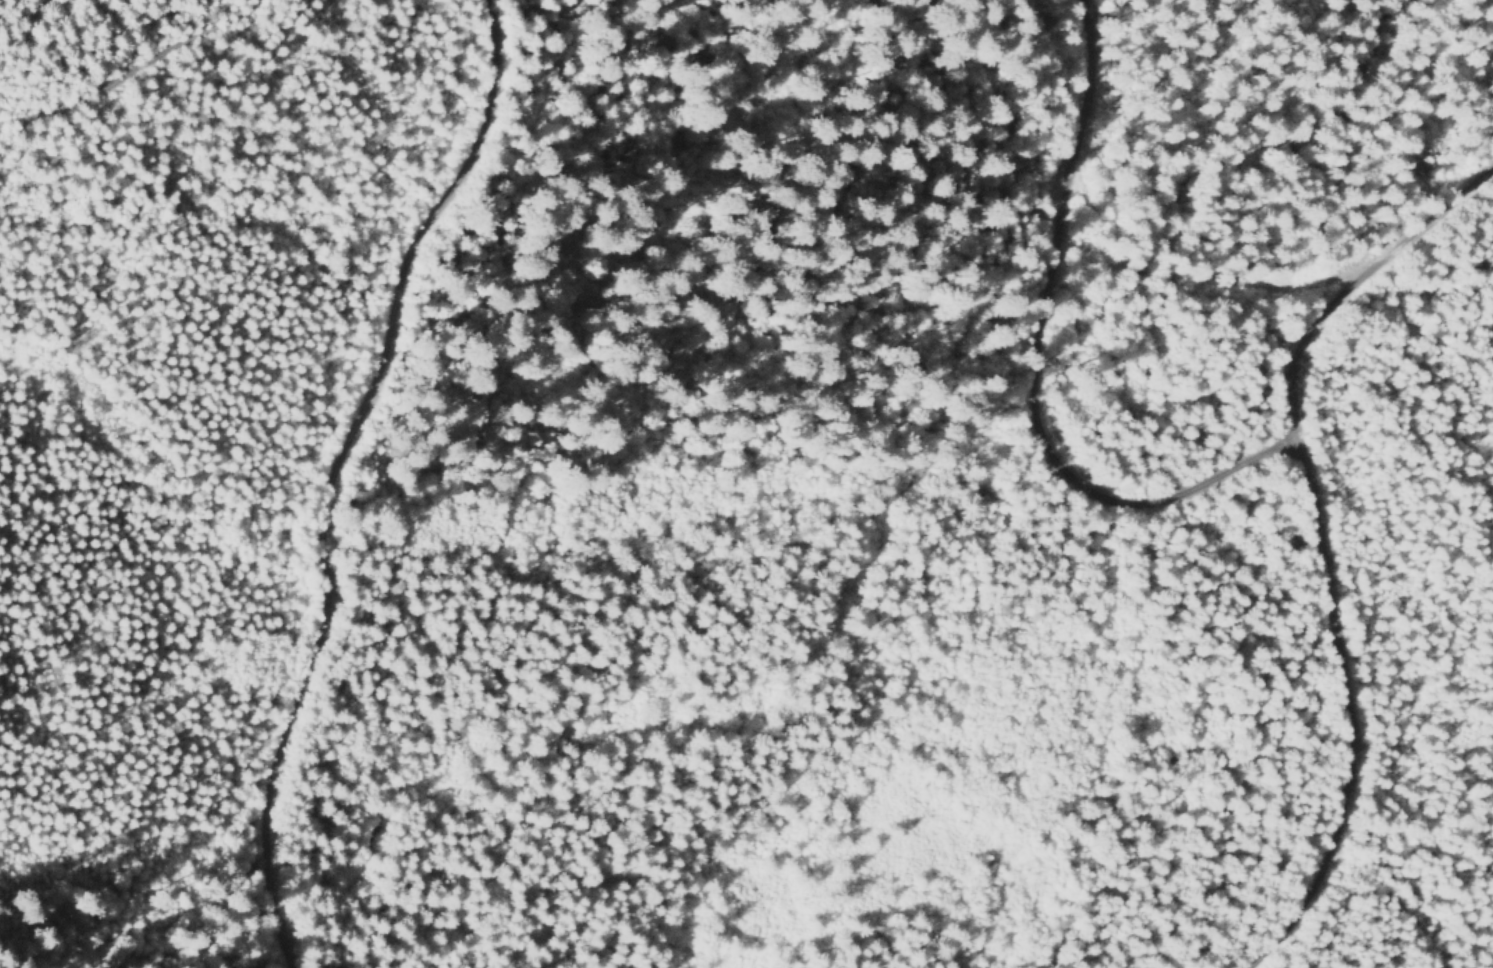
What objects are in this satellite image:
road: (136, 72)
road: (324, 472)
road: (1111, 501)
road: (1349, 714)

